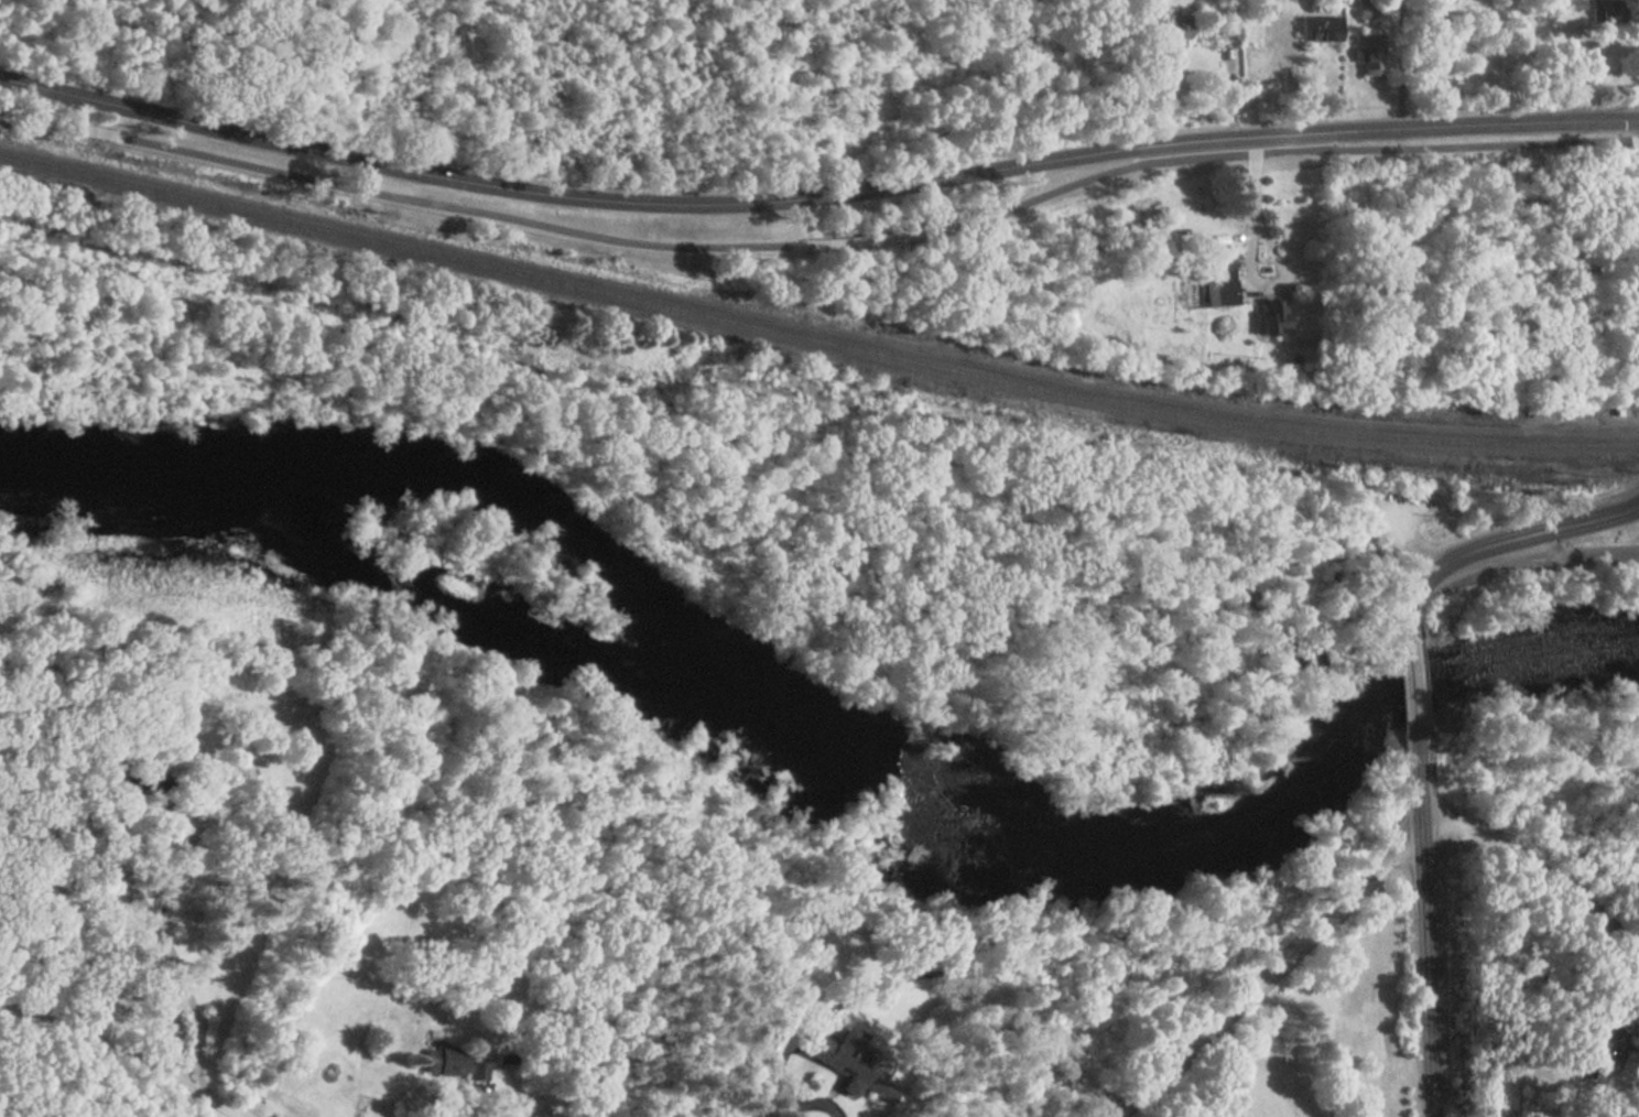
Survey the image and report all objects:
building: (1576, 4)
building: (1364, 9)
building: (1176, 26)
building: (1321, 29)
building: (1229, 32)
park: (230, 46)
building: (1368, 54)
road: (1287, 76)
road: (62, 122)
road: (1311, 151)
road: (815, 197)
road: (456, 207)
road: (893, 237)
road: (1251, 257)
building: (1219, 281)
building: (1271, 317)
road: (513, 334)
railway: (814, 338)
road: (323, 381)
road: (490, 388)
road: (1032, 452)
parking lot: (1405, 508)
road: (1408, 543)
road: (1496, 543)
road: (1573, 550)
road: (1140, 628)
road: (1414, 695)
river: (817, 750)
road: (1542, 871)
road: (160, 931)
road: (1425, 931)
road: (1566, 952)
road: (1266, 973)
road: (121, 1051)
building: (1589, 1052)
building: (848, 1059)
building: (456, 1064)
road: (486, 1091)

